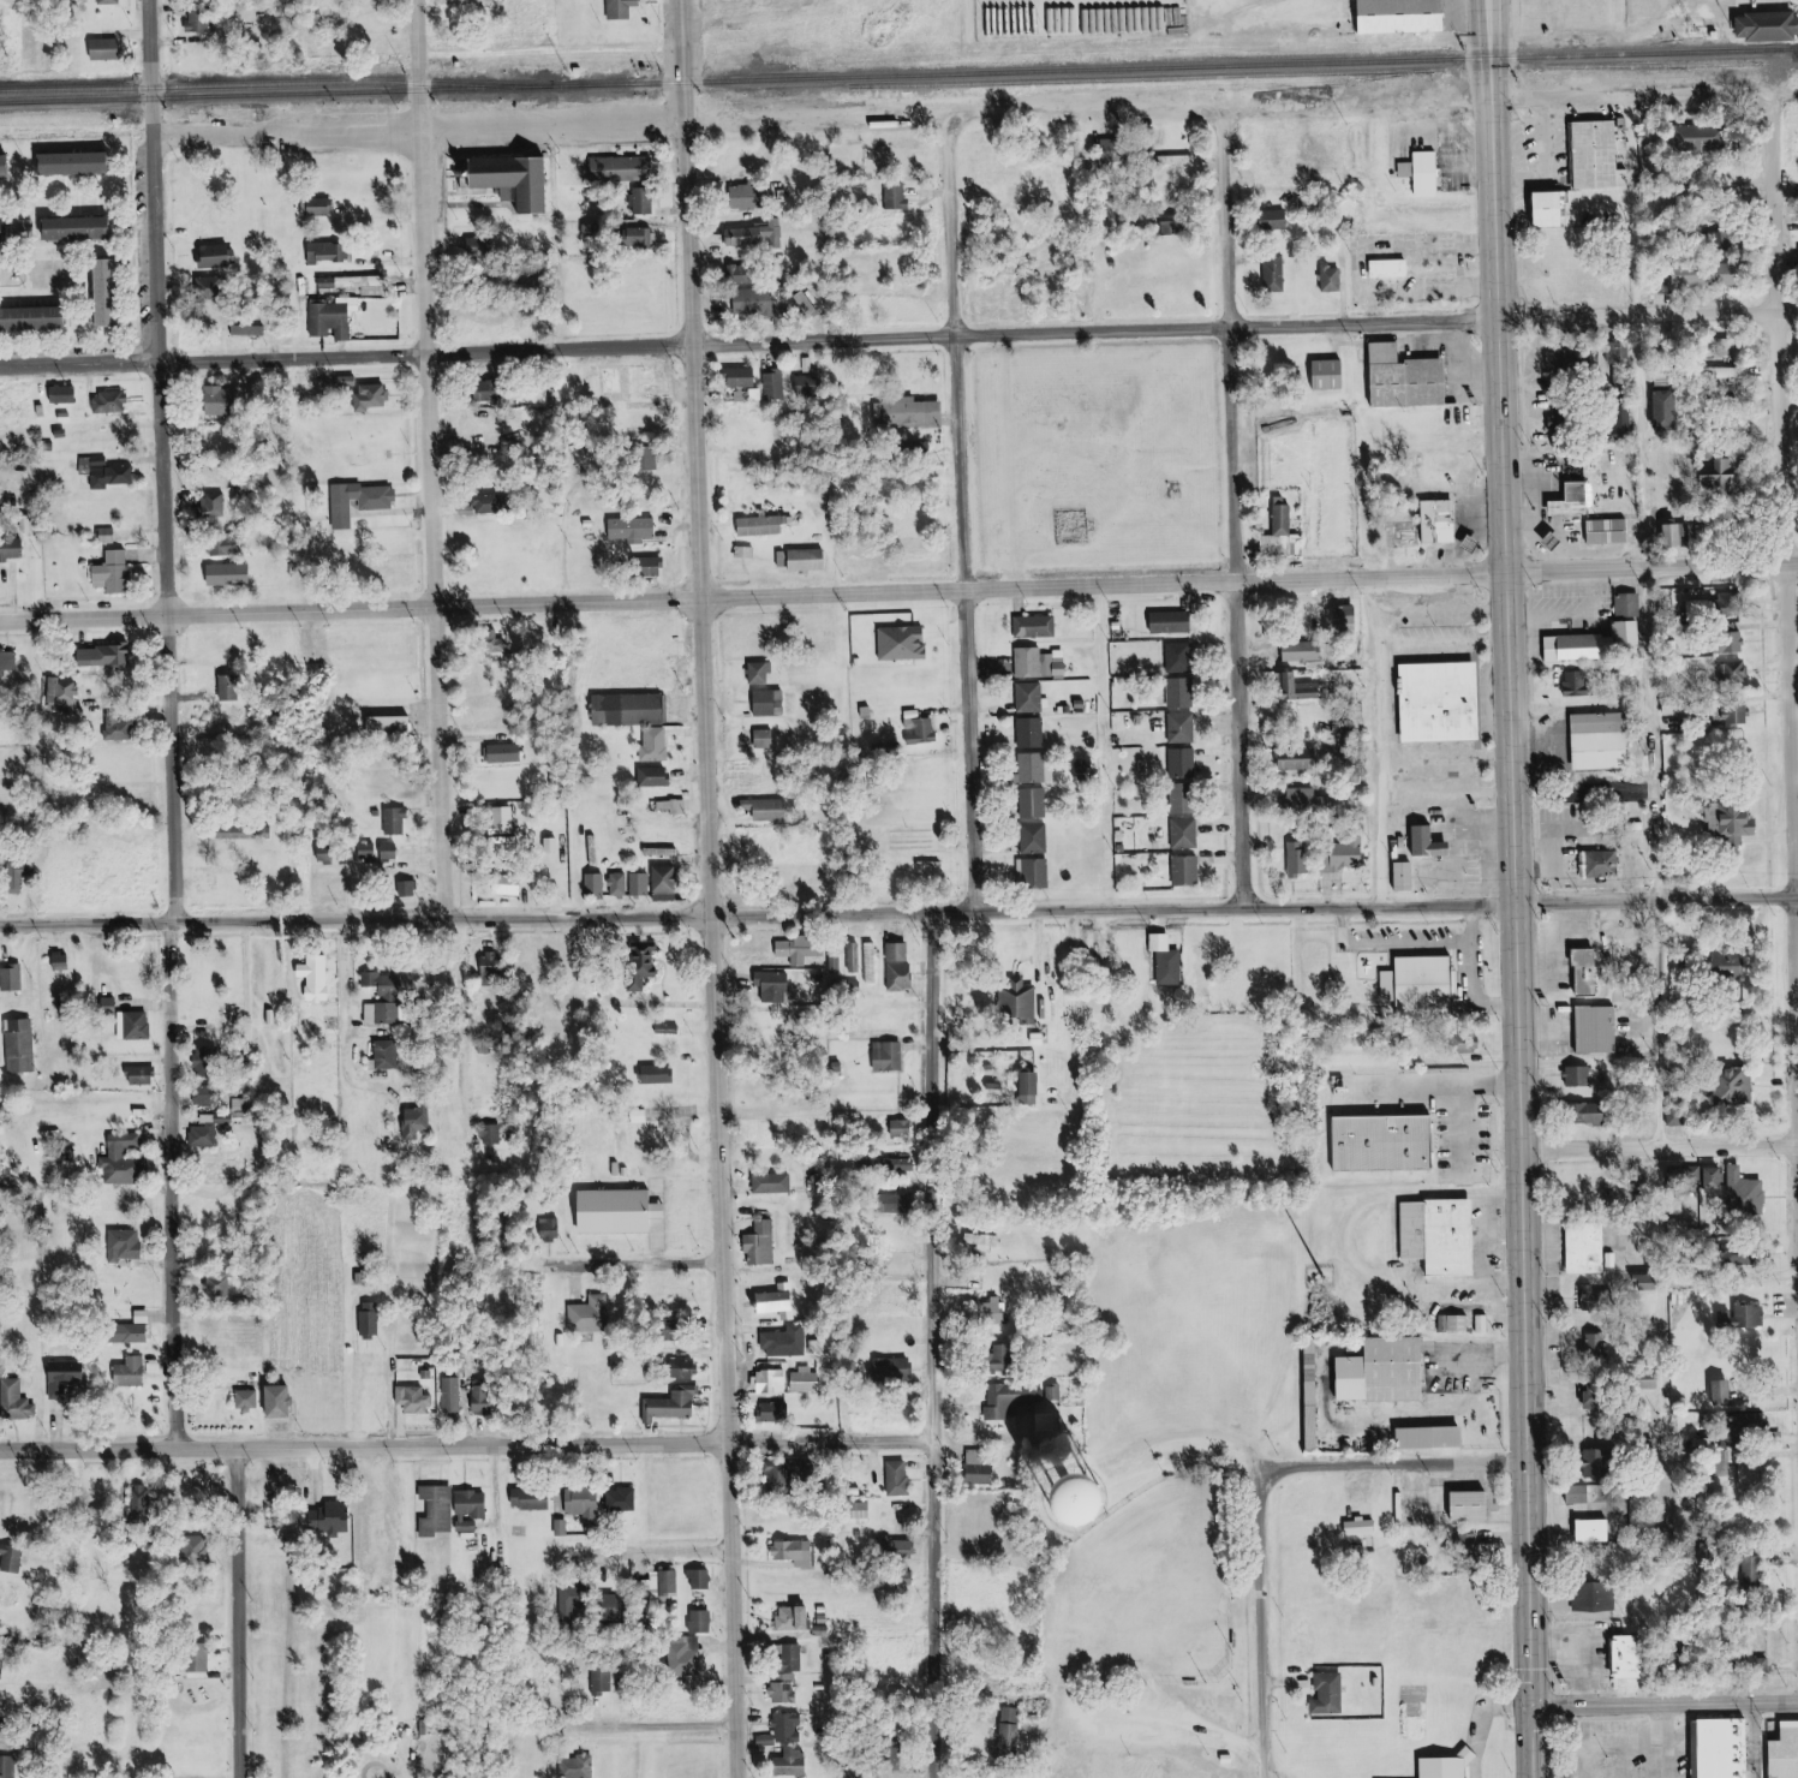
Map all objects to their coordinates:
building: (113, 1)
road: (1218, 6)
building: (623, 10)
road: (748, 13)
building: (1408, 16)
building: (202, 19)
road: (1516, 22)
building: (1770, 23)
road: (1603, 41)
building: (109, 49)
railway: (1278, 74)
railway: (898, 76)
railway: (259, 83)
road: (1607, 95)
road: (1354, 99)
road: (945, 111)
road: (546, 124)
road: (286, 132)
building: (1706, 137)
building: (1117, 149)
building: (1601, 155)
building: (1181, 160)
building: (80, 163)
building: (7, 166)
building: (626, 168)
building: (1427, 172)
building: (501, 180)
building: (748, 197)
building: (898, 197)
building: (646, 201)
building: (324, 207)
building: (1548, 210)
building: (1278, 220)
building: (1176, 223)
building: (28, 228)
building: (84, 228)
building: (7, 231)
building: (755, 235)
building: (646, 237)
building: (483, 245)
building: (331, 252)
building: (220, 255)
building: (1393, 268)
building: (1277, 273)
building: (746, 274)
building: (1334, 278)
building: (330, 282)
building: (375, 285)
building: (214, 287)
building: (112, 292)
building: (758, 302)
building: (812, 305)
building: (36, 317)
building: (333, 320)
building: (252, 329)
road: (898, 338)
building: (1620, 351)
building: (1573, 359)
building: (1733, 374)
building: (1333, 375)
building: (743, 377)
building: (1397, 377)
building: (350, 381)
building: (813, 383)
building: (776, 386)
building: (492, 390)
building: (66, 394)
building: (375, 396)
building: (226, 401)
building: (112, 402)
building: (1671, 408)
building: (912, 412)
building: (1567, 418)
building: (650, 458)
road: (430, 459)
building: (110, 473)
building: (1726, 475)
building: (1579, 500)
building: (215, 505)
building: (381, 505)
building: (496, 505)
road: (1233, 505)
building: (1442, 521)
road: (961, 525)
building: (764, 526)
building: (635, 530)
building: (1284, 531)
building: (1612, 531)
building: (110, 536)
building: (1679, 536)
building: (13, 548)
building: (227, 549)
building: (805, 560)
building: (118, 572)
building: (232, 574)
road: (1244, 579)
building: (1631, 605)
road: (345, 608)
building: (1349, 617)
building: (1175, 622)
building: (1037, 626)
building: (906, 643)
building: (1601, 644)
building: (1732, 644)
building: (1307, 651)
building: (108, 656)
building: (1182, 657)
building: (8, 661)
building: (1043, 663)
building: (1737, 672)
building: (763, 673)
road: (1787, 679)
building: (1582, 684)
building: (233, 688)
building: (1304, 688)
building: (1183, 692)
building: (65, 696)
building: (1032, 697)
building: (1430, 700)
building: (771, 703)
building: (632, 710)
building: (1740, 715)
road: (169, 724)
building: (394, 726)
building: (922, 728)
building: (1183, 728)
building: (121, 729)
building: (1033, 732)
road: (1651, 734)
building: (767, 739)
road: (1372, 741)
building: (1605, 741)
building: (657, 744)
building: (506, 753)
building: (1303, 759)
building: (1185, 763)
building: (1035, 768)
building: (657, 777)
building: (1187, 798)
building: (1310, 801)
building: (1035, 803)
building: (676, 806)
building: (770, 809)
building: (503, 821)
building: (398, 822)
building: (1736, 822)
building: (241, 833)
building: (1187, 833)
building: (1035, 837)
building: (1429, 841)
building: (381, 851)
building: (336, 854)
building: (1349, 858)
building: (1302, 859)
building: (1606, 864)
building: (1189, 871)
building: (1035, 872)
building: (23, 875)
building: (1409, 877)
building: (598, 883)
building: (518, 884)
building: (621, 884)
building: (643, 884)
building: (669, 884)
road: (1516, 888)
building: (411, 889)
road: (697, 889)
road: (985, 912)
road: (86, 926)
building: (804, 948)
building: (901, 951)
building: (855, 957)
building: (1170, 960)
building: (1686, 960)
building: (64, 961)
building: (837, 962)
building: (873, 962)
building: (644, 963)
building: (1734, 963)
building: (495, 965)
building: (1577, 971)
building: (1589, 972)
building: (318, 977)
building: (902, 977)
building: (14, 978)
building: (1416, 984)
building: (777, 986)
road: (1040, 990)
building: (390, 996)
building: (1021, 1001)
road: (464, 1004)
building: (112, 1006)
road: (298, 1010)
road: (350, 1021)
building: (137, 1025)
building: (670, 1030)
building: (1587, 1030)
road: (1081, 1039)
building: (23, 1046)
building: (389, 1055)
building: (891, 1056)
building: (209, 1062)
building: (659, 1074)
building: (143, 1075)
building: (1581, 1076)
building: (1035, 1084)
building: (1738, 1086)
building: (207, 1096)
building: (1031, 1099)
building: (1593, 1114)
building: (418, 1122)
building: (906, 1129)
building: (495, 1134)
building: (205, 1136)
building: (1388, 1144)
road: (1659, 1144)
building: (126, 1161)
building: (1677, 1174)
building: (776, 1183)
building: (1742, 1191)
building: (623, 1212)
building: (552, 1228)
building: (1430, 1236)
road: (1340, 1241)
road: (1385, 1241)
building: (985, 1242)
building: (127, 1245)
building: (764, 1245)
building: (1590, 1248)
road: (649, 1263)
building: (1650, 1282)
building: (220, 1287)
building: (1599, 1299)
building: (782, 1302)
building: (997, 1312)
building: (593, 1315)
building: (1746, 1317)
building: (372, 1320)
building: (1457, 1323)
building: (1486, 1324)
building: (139, 1333)
building: (789, 1342)
building: (1599, 1344)
road: (933, 1346)
building: (1008, 1358)
building: (688, 1370)
building: (896, 1370)
building: (133, 1372)
building: (1390, 1372)
building: (67, 1377)
building: (808, 1380)
building: (775, 1382)
building: (1725, 1392)
building: (453, 1395)
building: (1600, 1395)
building: (1316, 1396)
building: (485, 1397)
building: (1020, 1398)
building: (417, 1400)
building: (18, 1401)
building: (251, 1401)
building: (285, 1402)
building: (675, 1406)
building: (777, 1412)
building: (1050, 1422)
building: (1752, 1424)
road: (1205, 1437)
building: (1435, 1438)
road: (466, 1446)
road: (1398, 1462)
building: (1603, 1464)
building: (982, 1468)
building: (793, 1474)
building: (1752, 1476)
building: (901, 1479)
road: (1350, 1490)
building: (1582, 1494)
water tower: (1064, 1497)
building: (534, 1500)
building: (625, 1500)
building: (587, 1504)
building: (142, 1505)
building: (1131, 1506)
building: (1476, 1506)
building: (441, 1510)
building: (474, 1510)
building: (865, 1513)
building: (335, 1520)
building: (1351, 1526)
building: (562, 1528)
building: (1599, 1532)
building: (1471, 1544)
building: (902, 1547)
building: (199, 1550)
road: (674, 1550)
building: (798, 1552)
building: (14, 1558)
building: (1755, 1573)
building: (701, 1579)
building: (667, 1587)
building: (1583, 1594)
building: (575, 1599)
building: (622, 1607)
road: (237, 1613)
building: (799, 1618)
building: (704, 1621)
road: (1265, 1622)
road: (1555, 1633)
park: (1155, 1634)
building: (793, 1655)
building: (1621, 1655)
building: (202, 1659)
building: (688, 1660)
building: (2, 1670)
road: (1581, 1670)
road: (1555, 1671)
building: (605, 1679)
road: (1283, 1684)
building: (787, 1688)
building: (1318, 1692)
road: (1665, 1705)
traffic signals: (1533, 1710)
road: (1474, 1716)
road: (1654, 1724)
road: (653, 1726)
building: (6, 1730)
building: (789, 1730)
building: (1011, 1734)
road: (1169, 1734)
road: (1582, 1743)
road: (1621, 1743)
building: (1715, 1748)
building: (1779, 1748)
road: (1655, 1760)
building: (795, 1761)
building: (8, 1766)
building: (580, 1767)
building: (1435, 1767)

